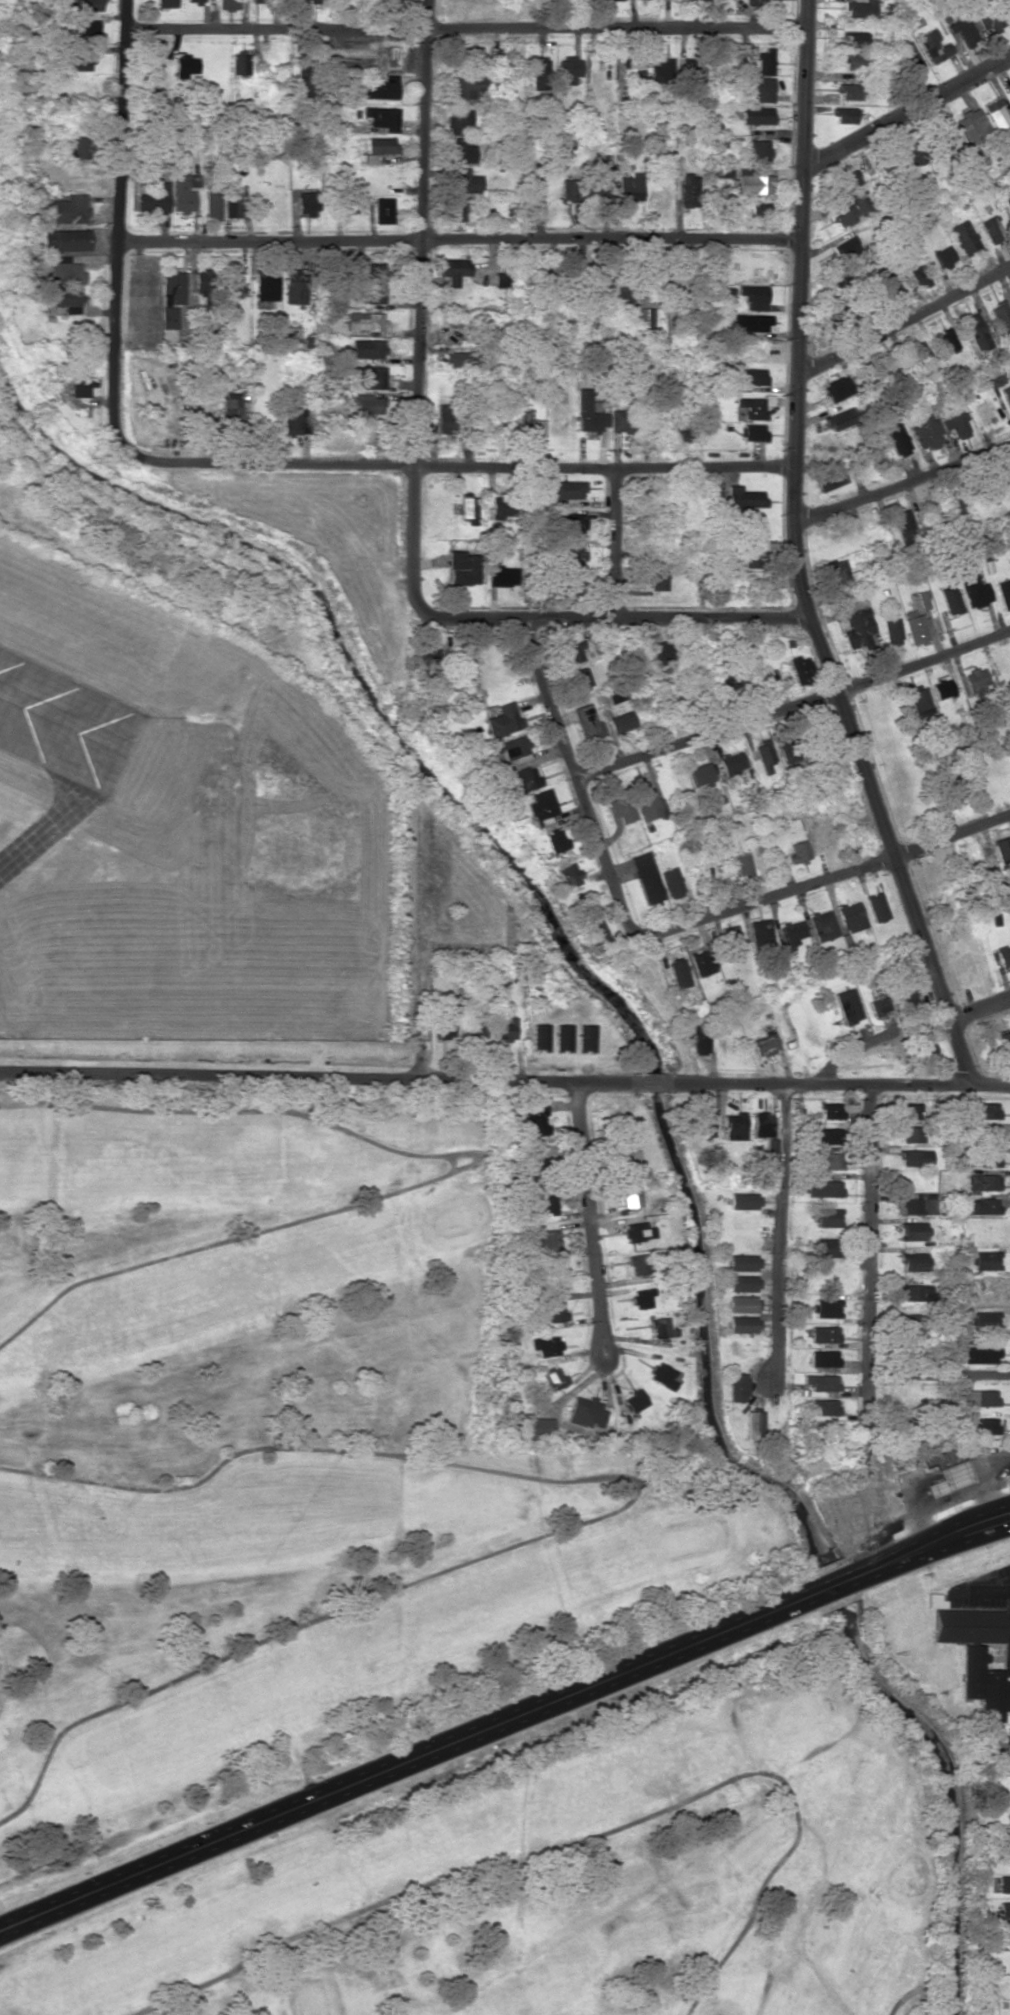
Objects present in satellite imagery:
building: (258, 0)
building: (311, 0)
building: (390, 0)
building: (195, 1)
building: (761, 2)
building: (166, 3)
building: (87, 4)
building: (230, 4)
building: (1007, 6)
building: (859, 8)
building: (990, 18)
building: (89, 27)
road: (465, 28)
building: (963, 30)
building: (856, 38)
building: (934, 46)
building: (472, 56)
building: (81, 58)
building: (909, 58)
building: (765, 61)
building: (241, 63)
building: (186, 64)
building: (568, 69)
building: (694, 70)
building: (659, 71)
building: (632, 73)
building: (540, 74)
building: (469, 86)
building: (382, 88)
building: (762, 88)
building: (1009, 88)
building: (850, 91)
building: (996, 112)
road: (907, 113)
building: (845, 114)
building: (758, 115)
building: (383, 117)
building: (460, 120)
building: (972, 125)
building: (942, 141)
building: (379, 144)
building: (79, 147)
building: (463, 150)
building: (760, 150)
building: (917, 153)
building: (847, 179)
building: (466, 181)
building: (598, 181)
building: (755, 182)
building: (181, 186)
building: (631, 188)
building: (569, 189)
building: (690, 190)
building: (154, 198)
building: (212, 202)
building: (1007, 202)
building: (307, 203)
building: (232, 204)
building: (69, 209)
building: (761, 209)
building: (851, 209)
building: (383, 210)
building: (457, 211)
road: (117, 226)
building: (991, 229)
building: (964, 236)
road: (458, 239)
building: (65, 240)
building: (845, 247)
building: (943, 256)
building: (454, 269)
building: (65, 270)
building: (373, 271)
building: (919, 276)
building: (596, 278)
building: (502, 279)
building: (555, 279)
building: (206, 284)
building: (232, 284)
building: (655, 284)
building: (266, 285)
building: (294, 285)
building: (887, 287)
building: (375, 294)
building: (66, 296)
building: (754, 296)
building: (171, 297)
road: (419, 308)
road: (905, 315)
building: (645, 317)
building: (1002, 319)
building: (365, 320)
building: (749, 322)
building: (975, 330)
building: (292, 333)
building: (946, 339)
building: (367, 348)
building: (920, 351)
building: (458, 359)
building: (368, 377)
building: (748, 378)
building: (994, 378)
building: (79, 386)
building: (838, 388)
building: (1007, 398)
building: (368, 404)
building: (752, 407)
building: (231, 411)
building: (590, 412)
building: (293, 417)
building: (446, 418)
building: (839, 419)
building: (619, 420)
building: (955, 422)
building: (535, 427)
building: (925, 429)
building: (682, 430)
building: (753, 431)
building: (897, 438)
road: (457, 466)
building: (829, 479)
road: (901, 480)
building: (567, 489)
building: (745, 497)
building: (468, 507)
building: (502, 507)
building: (573, 524)
building: (905, 527)
road: (615, 543)
building: (572, 555)
building: (753, 556)
road: (795, 556)
building: (462, 567)
building: (836, 573)
building: (503, 575)
building: (656, 581)
building: (974, 590)
building: (1004, 593)
building: (950, 599)
road: (615, 617)
building: (856, 620)
building: (916, 628)
building: (892, 631)
building: (576, 650)
building: (659, 652)
building: (429, 660)
building: (800, 668)
building: (580, 677)
building: (976, 679)
building: (941, 688)
building: (616, 693)
building: (919, 700)
road: (793, 705)
airport runway: (55, 719)
building: (503, 719)
building: (588, 719)
building: (623, 721)
building: (512, 746)
building: (764, 756)
building: (732, 762)
building: (701, 774)
road: (574, 776)
building: (522, 780)
building: (951, 788)
building: (649, 803)
building: (541, 804)
building: (621, 808)
airport taxiway: (65, 817)
airport: (179, 829)
building: (555, 840)
building: (1002, 848)
building: (798, 851)
building: (743, 864)
building: (568, 875)
building: (646, 877)
road: (822, 878)
building: (672, 882)
building: (582, 901)
building: (875, 906)
building: (851, 916)
building: (821, 924)
building: (596, 930)
building: (759, 932)
building: (791, 932)
building: (731, 941)
building: (1004, 955)
building: (702, 962)
building: (679, 972)
building: (905, 998)
building: (848, 1005)
building: (878, 1005)
building: (505, 1030)
road: (915, 1035)
building: (540, 1036)
building: (563, 1037)
building: (586, 1037)
building: (700, 1039)
building: (1004, 1040)
building: (765, 1043)
building: (925, 1053)
road: (505, 1077)
building: (830, 1110)
building: (909, 1110)
building: (985, 1110)
building: (538, 1123)
building: (622, 1123)
building: (703, 1123)
building: (762, 1124)
building: (734, 1126)
building: (910, 1133)
building: (988, 1134)
building: (825, 1135)
building: (914, 1157)
building: (627, 1158)
building: (988, 1159)
building: (826, 1160)
building: (983, 1181)
building: (822, 1188)
building: (631, 1196)
building: (743, 1200)
building: (548, 1203)
building: (912, 1204)
building: (981, 1205)
building: (827, 1217)
road: (592, 1220)
building: (913, 1230)
building: (638, 1231)
road: (823, 1231)
building: (549, 1242)
building: (826, 1247)
building: (984, 1260)
building: (912, 1261)
building: (743, 1262)
building: (638, 1263)
building: (743, 1282)
road: (916, 1286)
building: (915, 1292)
building: (642, 1298)
building: (742, 1303)
building: (826, 1308)
building: (557, 1311)
building: (982, 1320)
building: (910, 1321)
building: (742, 1324)
building: (662, 1327)
building: (824, 1334)
building: (547, 1345)
building: (980, 1354)
building: (824, 1358)
building: (664, 1375)
building: (555, 1378)
road: (963, 1380)
building: (822, 1382)
building: (738, 1387)
building: (977, 1397)
building: (635, 1400)
building: (825, 1406)
building: (586, 1412)
building: (754, 1424)
building: (979, 1425)
building: (539, 1428)
building: (944, 1472)
road: (945, 1537)
park: (387, 1619)
building: (978, 1661)
building: (1007, 1735)
road: (440, 1747)
building: (1009, 1813)
building: (1006, 1834)
building: (1004, 1883)
building: (1004, 1909)
building: (1004, 1932)

